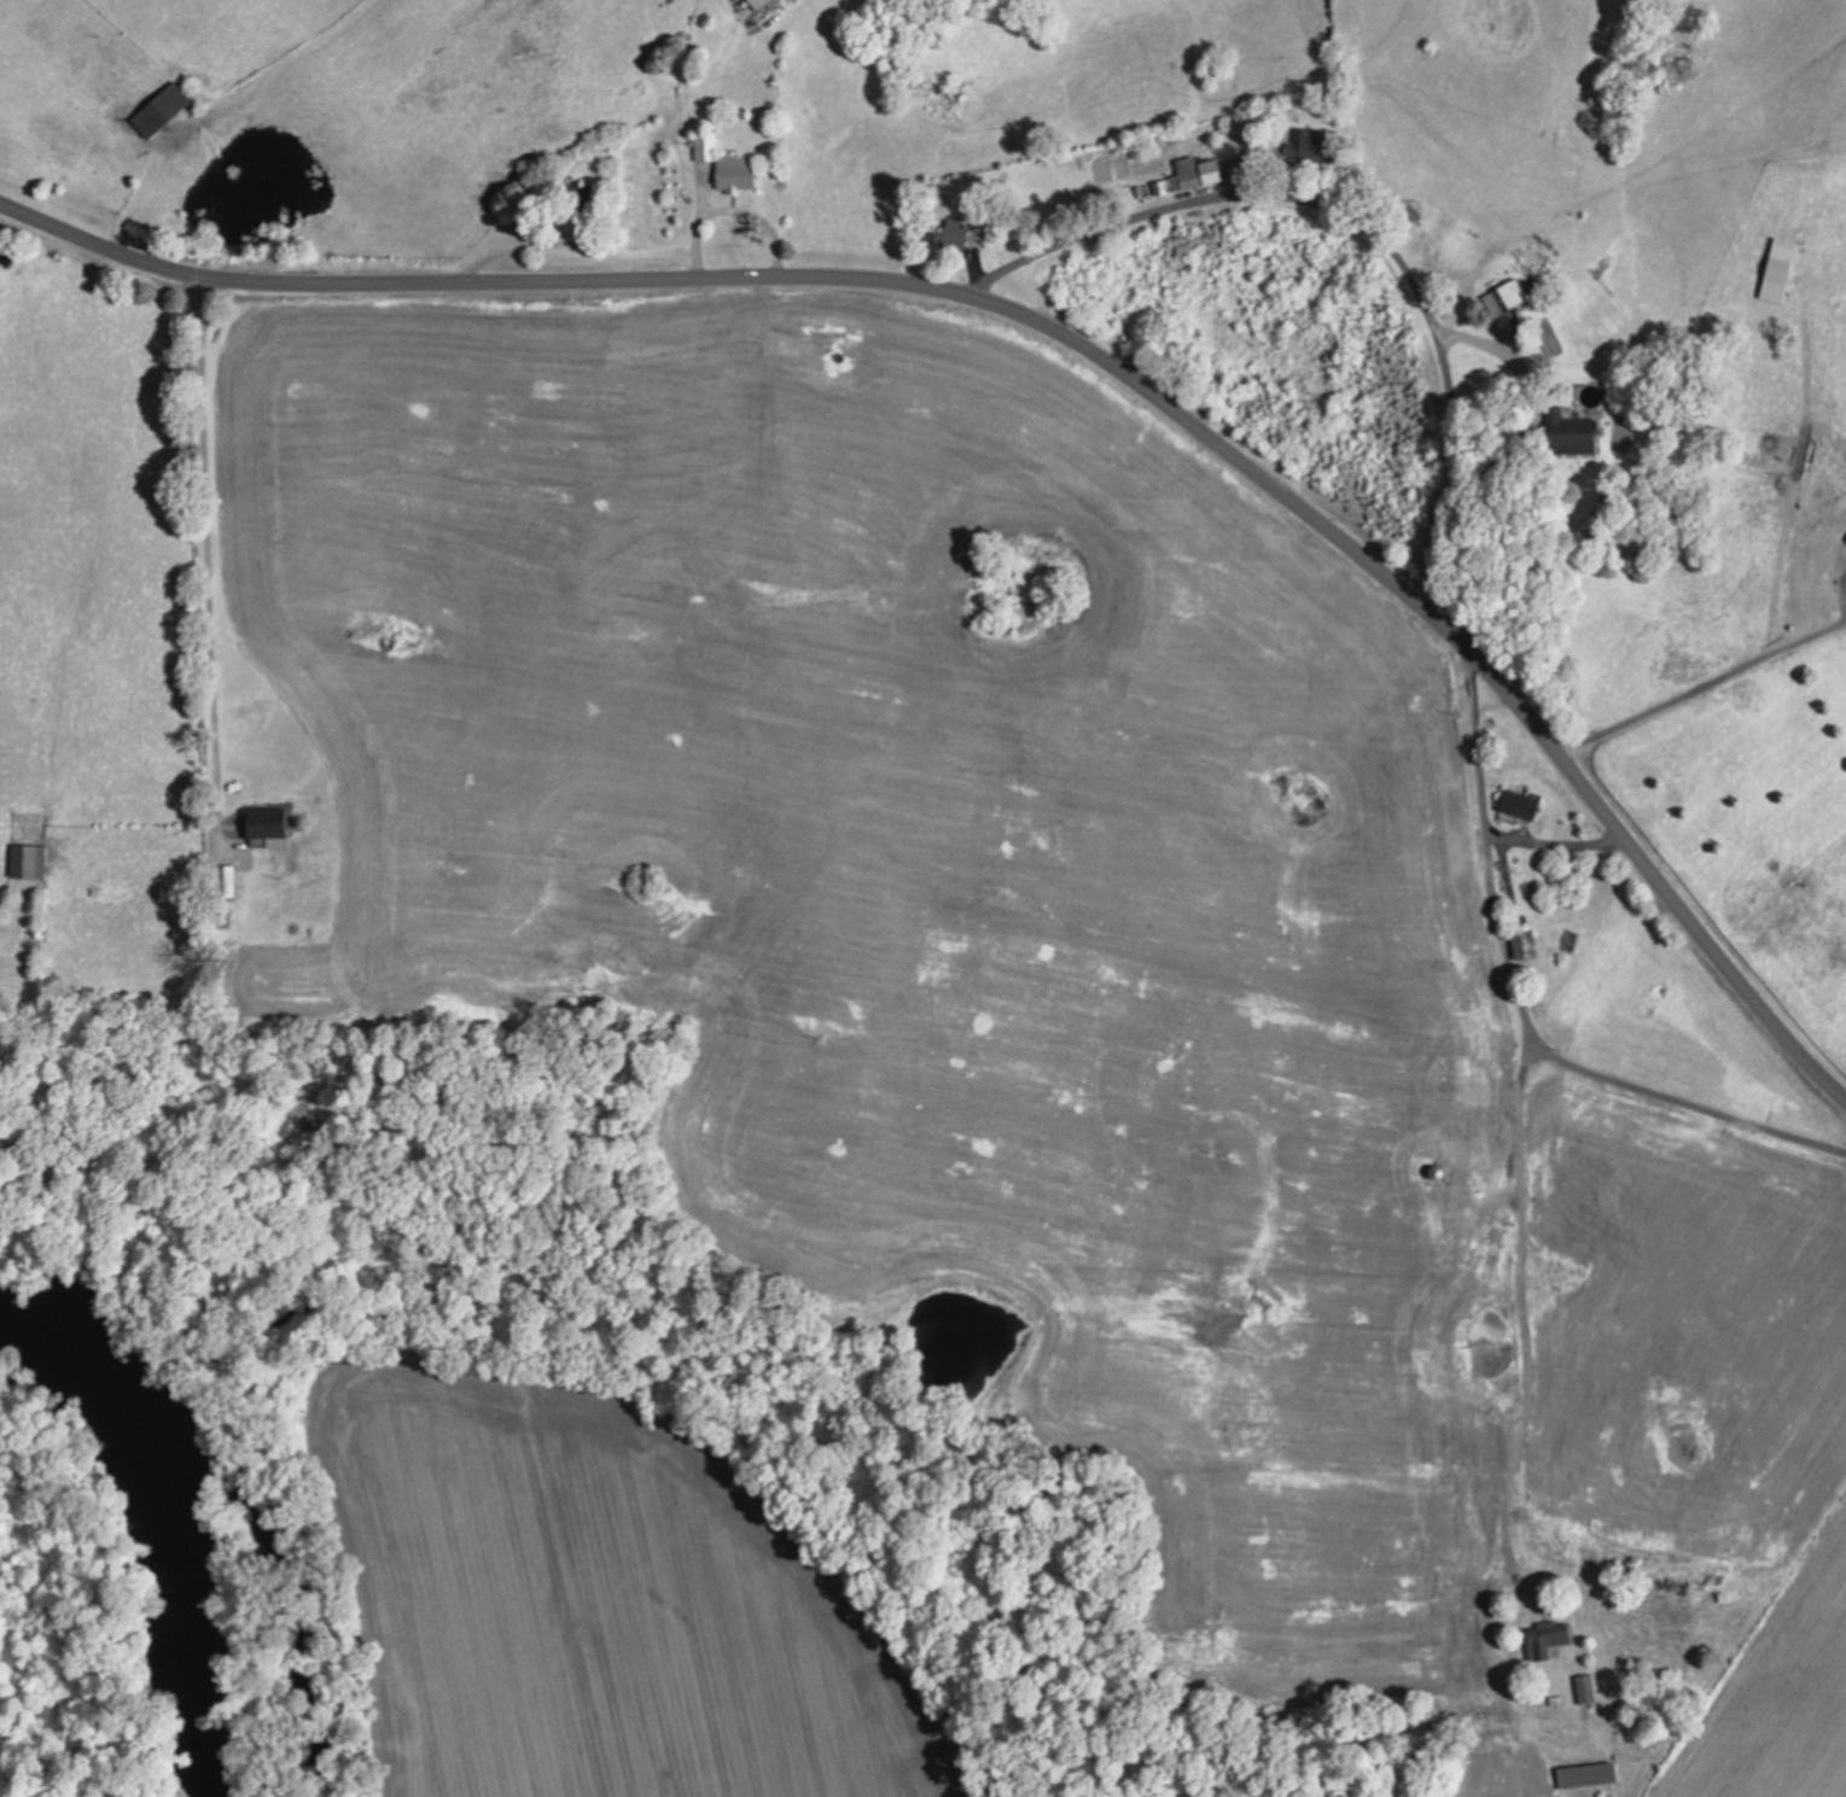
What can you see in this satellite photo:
building: (758, 2)
building: (161, 109)
building: (1311, 144)
building: (726, 163)
building: (1190, 175)
building: (580, 196)
road: (1372, 228)
building: (955, 235)
building: (1781, 263)
building: (1504, 297)
road: (1068, 337)
building: (1571, 433)
road: (208, 561)
road: (1702, 692)
building: (1520, 805)
road: (1553, 845)
road: (1486, 853)
building: (28, 862)
building: (226, 881)
building: (1524, 946)
road: (1688, 1104)
road: (1521, 1300)
river: (152, 1553)
building: (1545, 1639)
building: (1586, 1774)

